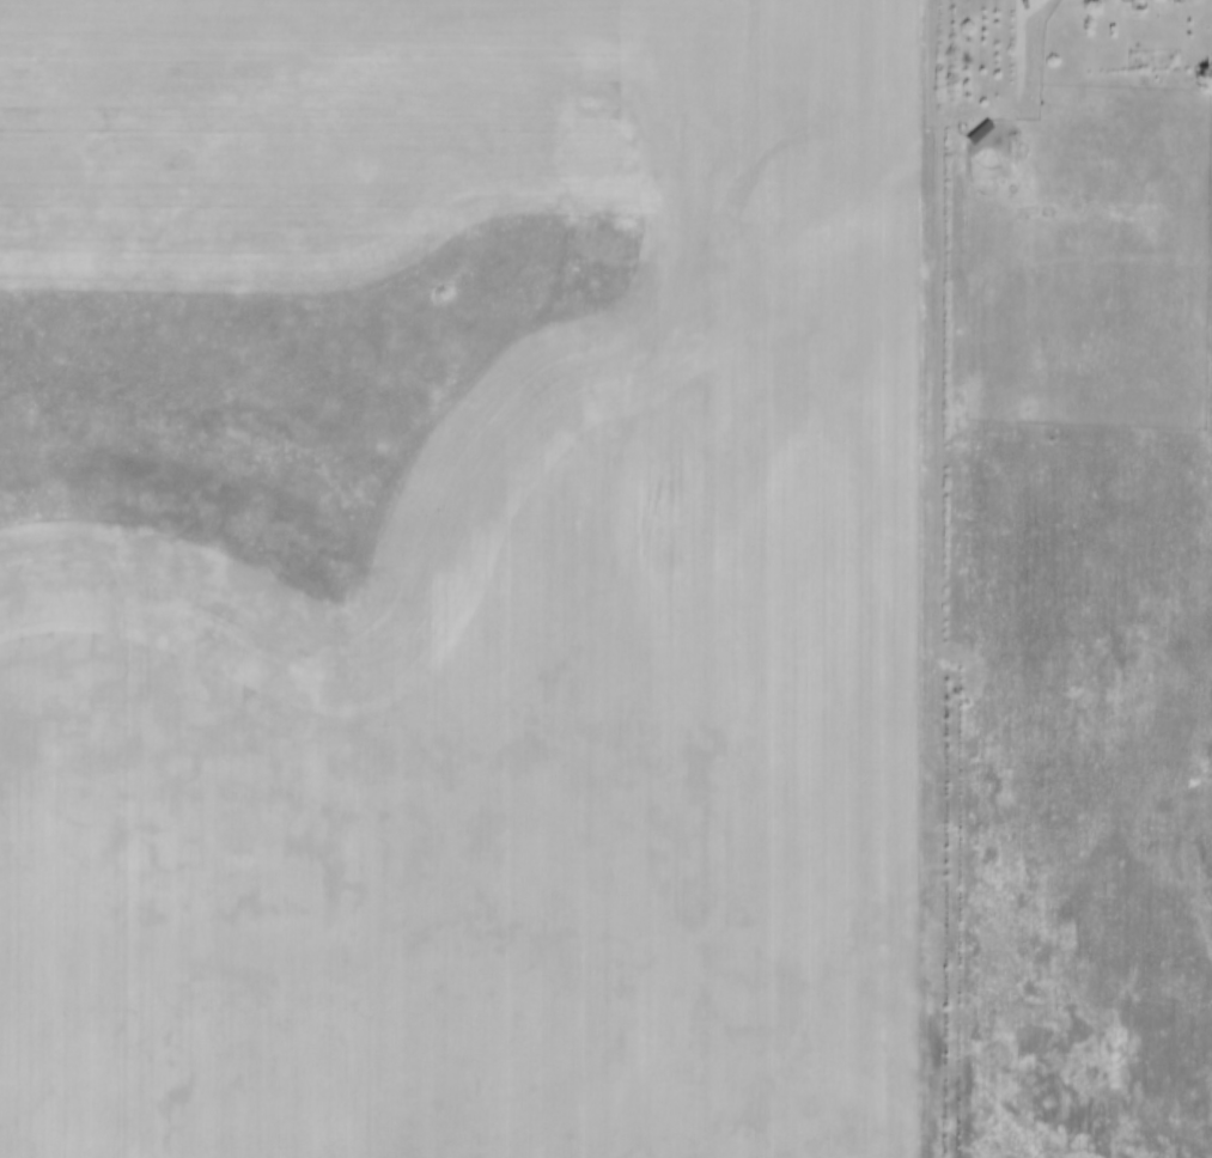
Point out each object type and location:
road: (1019, 39)

